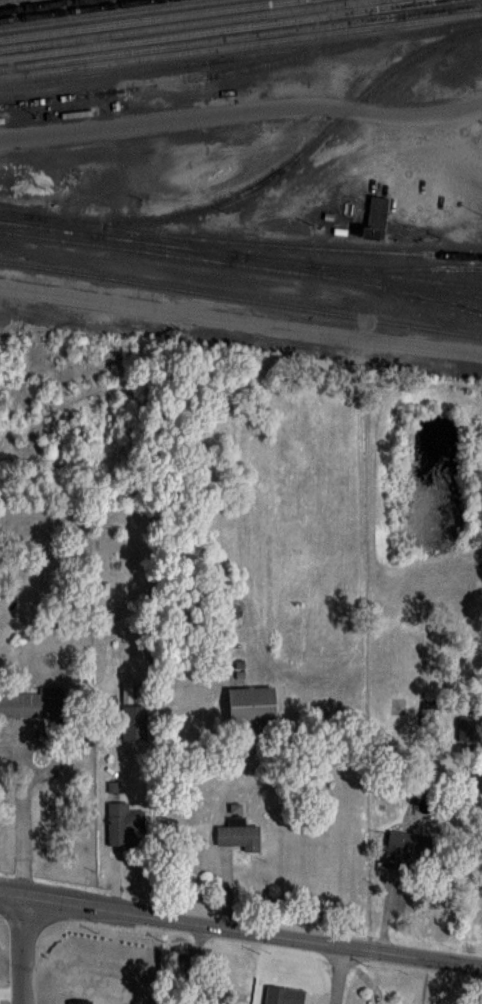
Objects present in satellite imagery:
railway: (35, 4)
railway: (76, 10)
railway: (109, 14)
railway: (142, 19)
railway: (182, 24)
railway: (216, 29)
railway: (241, 35)
railway: (241, 44)
railway: (240, 54)
railway: (182, 79)
road: (241, 110)
railway: (262, 180)
railway: (2, 211)
building: (326, 216)
building: (373, 216)
railway: (36, 229)
building: (337, 231)
railway: (145, 234)
railway: (302, 246)
railway: (157, 248)
railway: (241, 254)
railway: (242, 265)
railway: (402, 268)
railway: (162, 269)
railway: (316, 270)
railway: (437, 281)
railway: (468, 284)
railway: (241, 294)
railway: (445, 301)
road: (240, 318)
building: (20, 704)
building: (252, 705)
building: (134, 722)
road: (23, 822)
building: (124, 825)
building: (238, 833)
building: (407, 850)
road: (240, 929)
road: (28, 950)
road: (338, 974)
building: (283, 995)
building: (205, 997)

